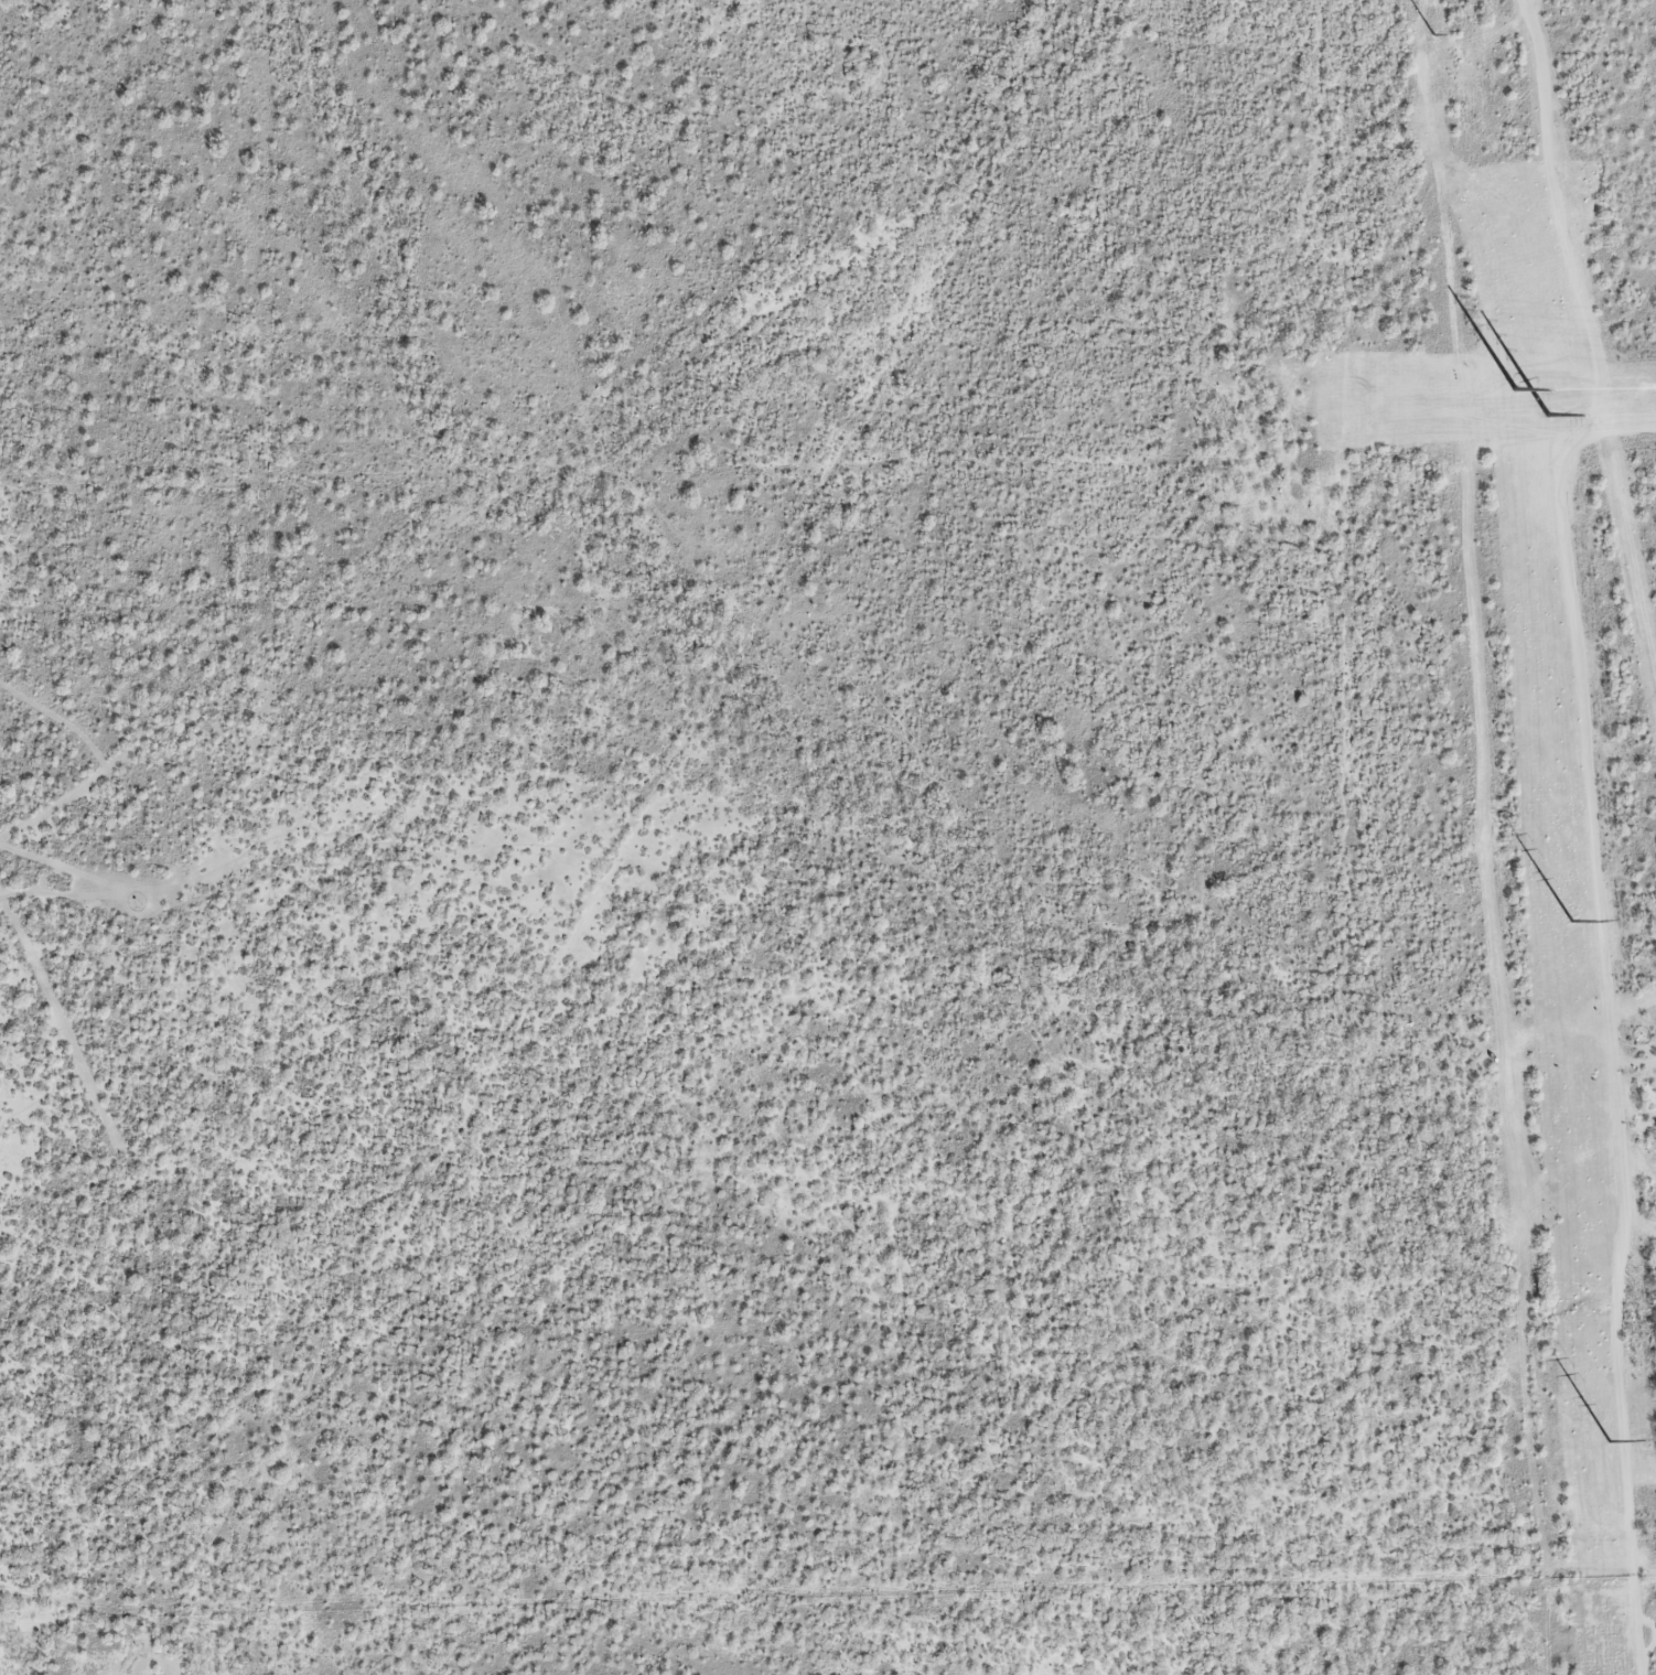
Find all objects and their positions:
power tower: (1427, 46)
power tower: (1548, 415)
power tower: (1459, 465)
power tower: (1486, 834)
power tower: (1570, 921)
power tower: (1513, 1214)
power tower: (1609, 1441)
power tower: (1541, 1597)

